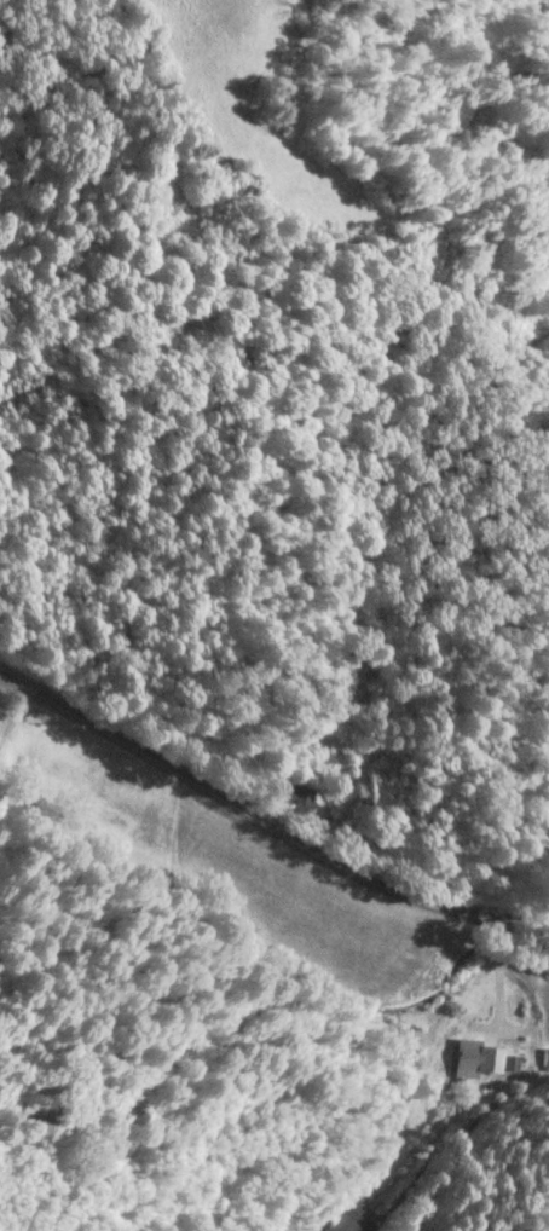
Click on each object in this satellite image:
building: (299, 796)
road: (265, 819)
building: (478, 1058)

